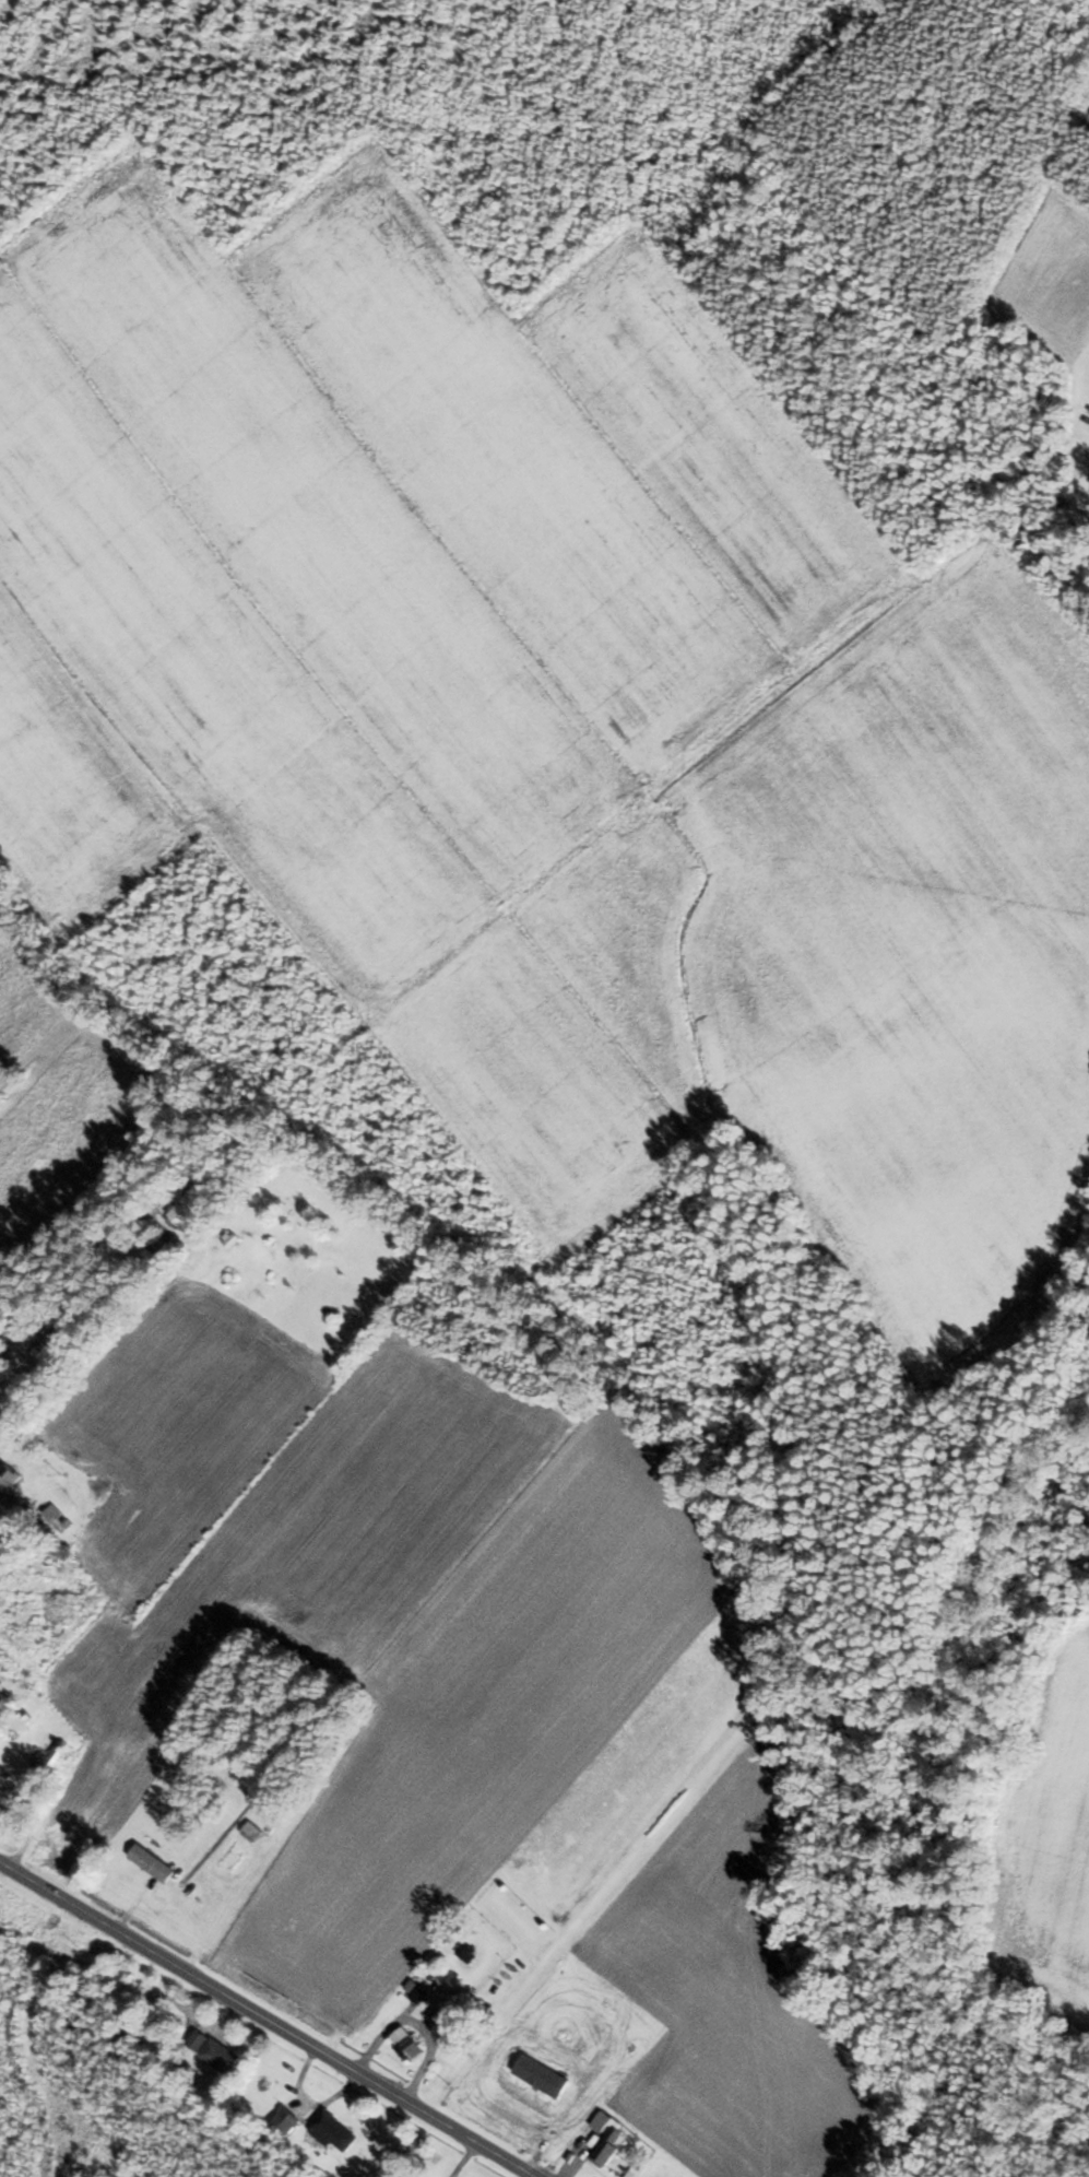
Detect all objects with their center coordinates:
building: (188, 1205)
building: (45, 1343)
building: (7, 1480)
building: (49, 1761)
building: (11, 1789)
building: (249, 1831)
building: (150, 1863)
road: (263, 2022)
building: (405, 2044)
building: (213, 2051)
building: (540, 2076)
building: (285, 2120)
building: (600, 2121)
building: (334, 2130)
building: (606, 2145)

